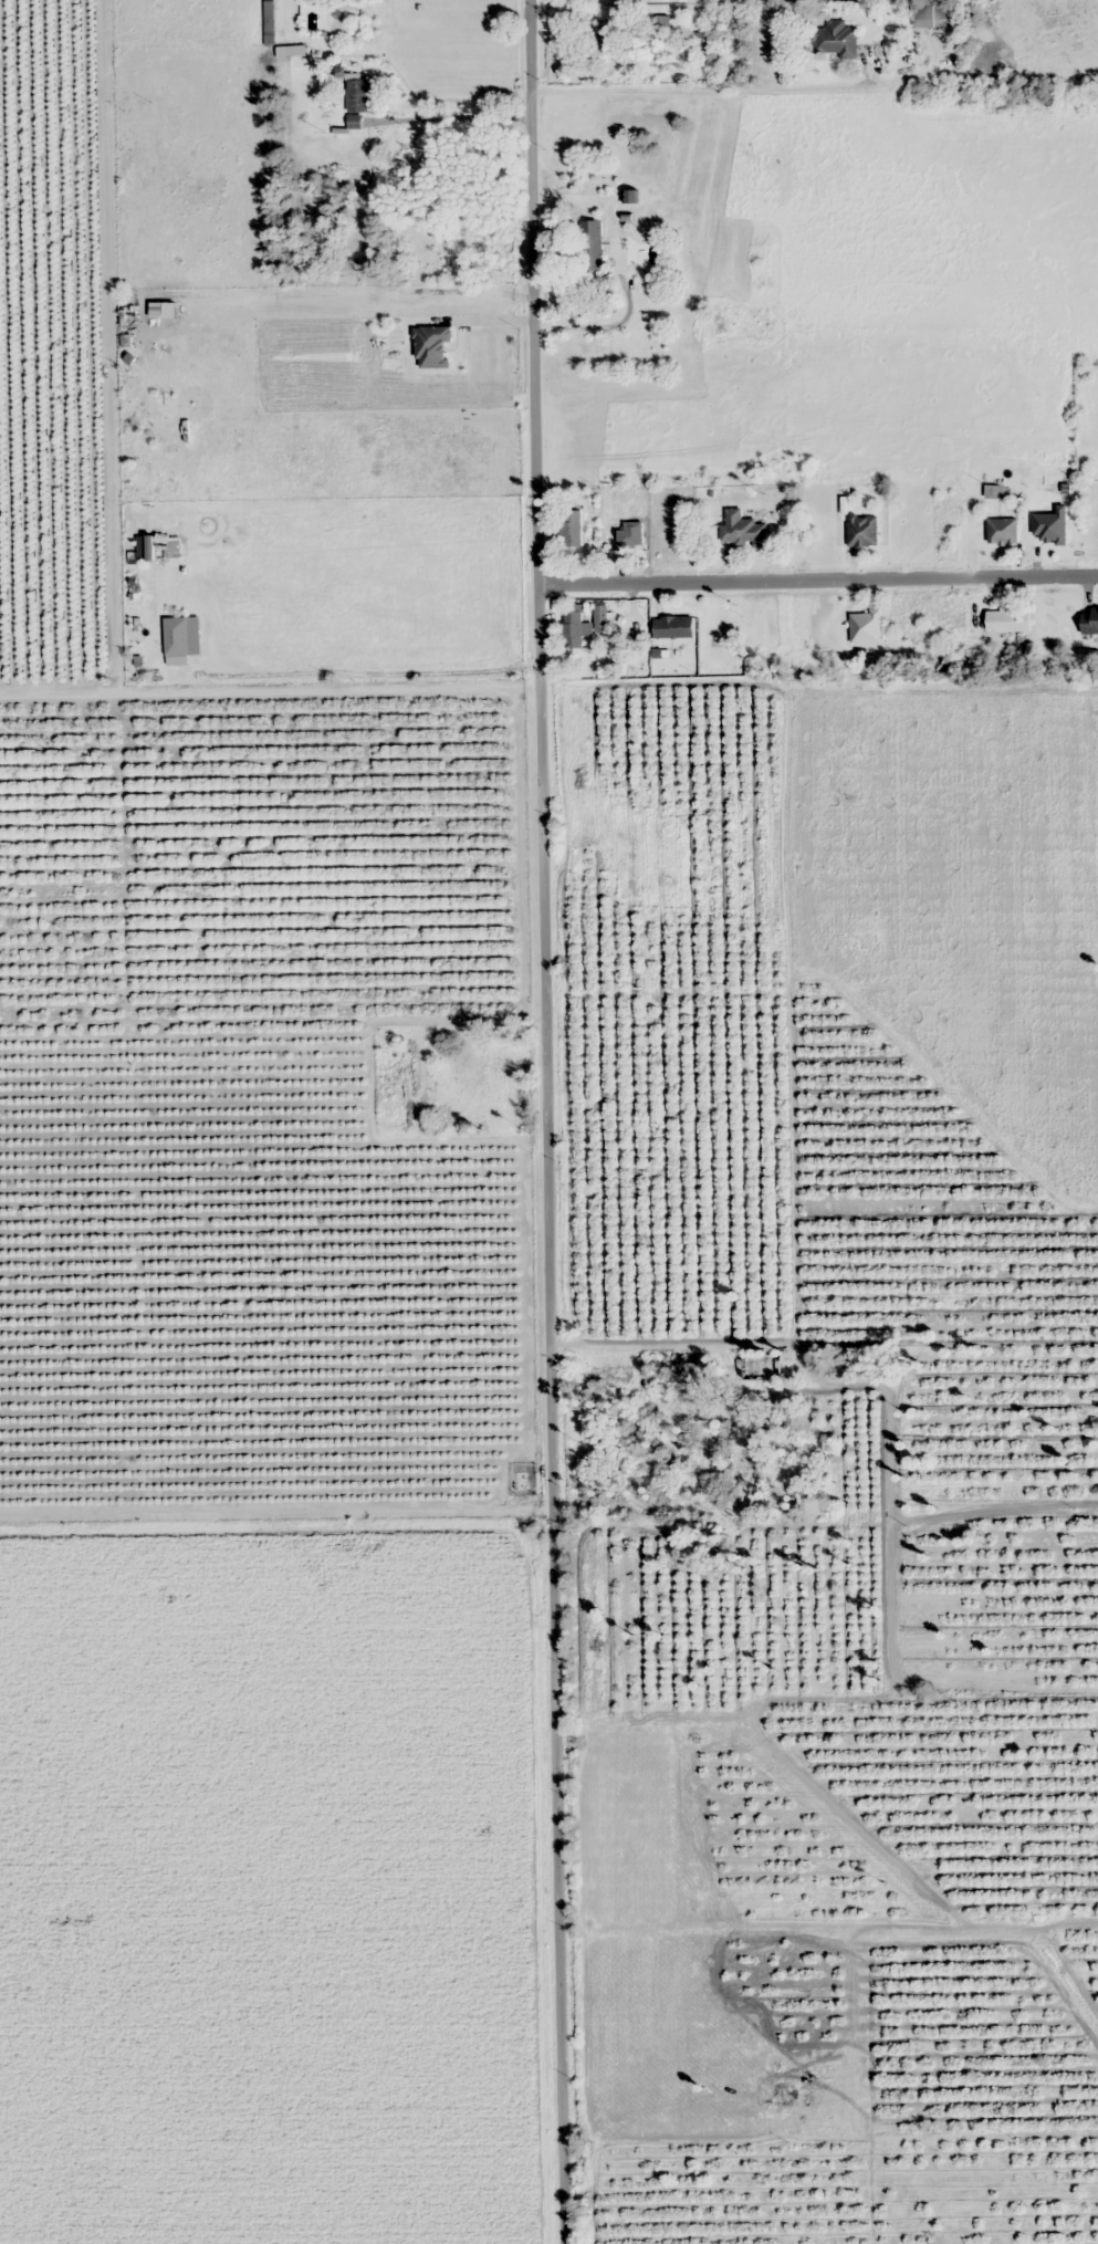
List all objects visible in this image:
building: (930, 14)
building: (835, 40)
building: (703, 43)
building: (357, 102)
building: (590, 244)
road: (137, 332)
road: (534, 333)
building: (432, 346)
building: (572, 528)
building: (741, 528)
building: (862, 530)
building: (626, 540)
road: (816, 580)
building: (600, 618)
building: (1007, 619)
building: (1089, 619)
building: (672, 626)
building: (866, 627)
building: (574, 628)
road: (268, 664)
road: (545, 972)
building: (471, 1078)
road: (826, 1271)
building: (761, 1360)
road: (555, 1394)
building: (746, 1457)
road: (558, 1876)

